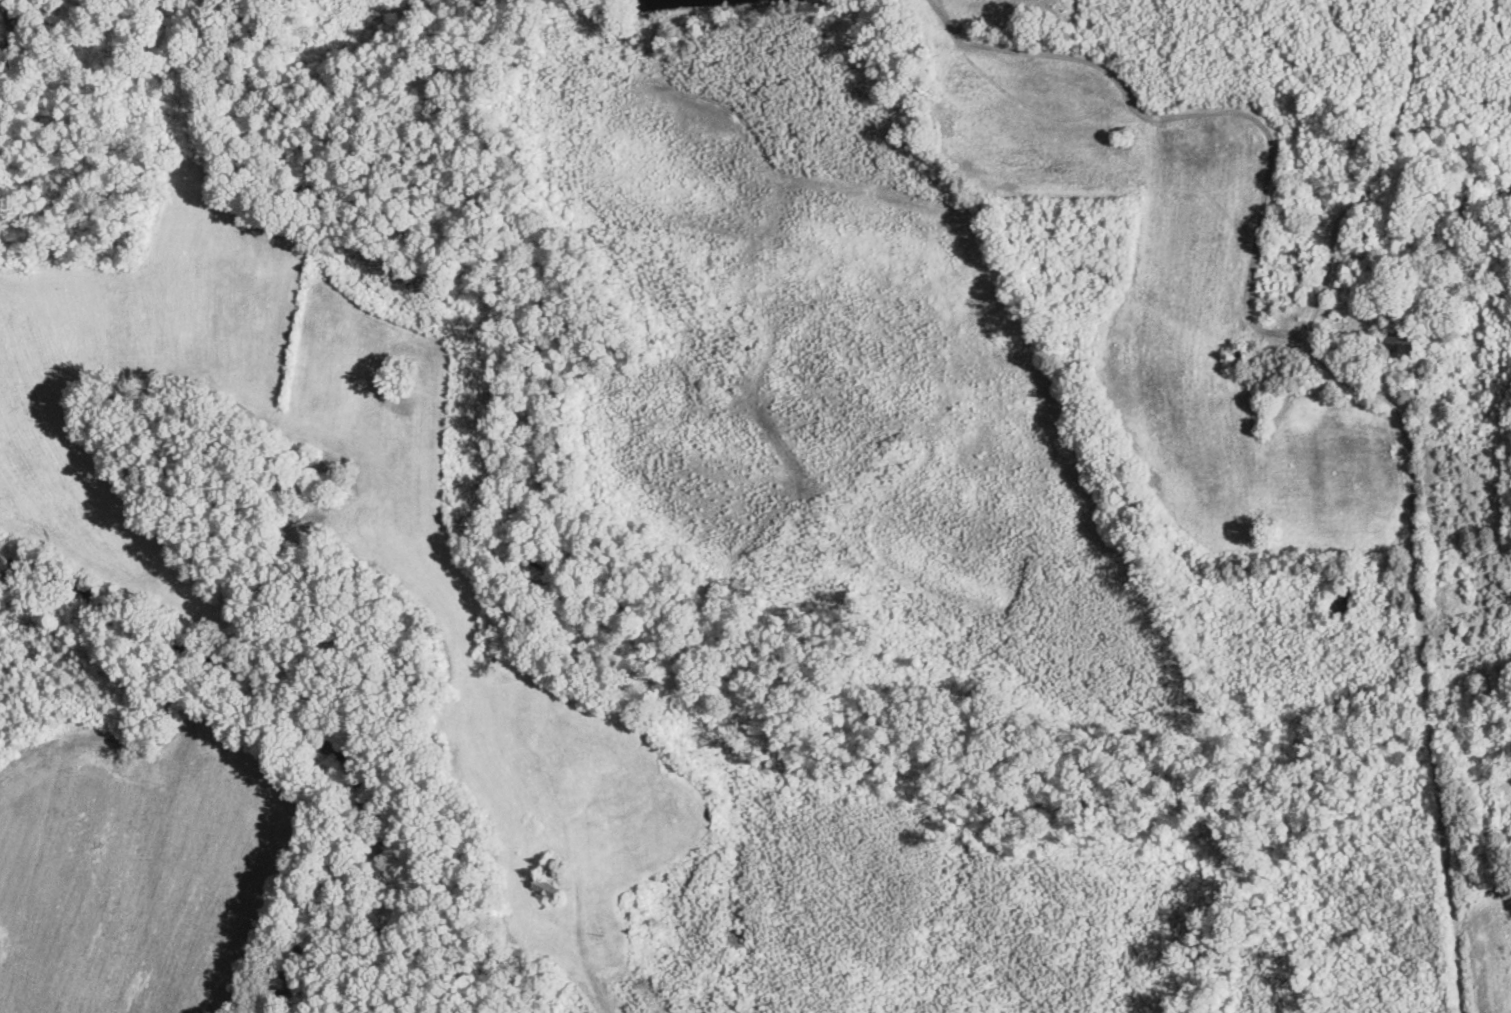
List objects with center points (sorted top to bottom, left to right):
building: (1399, 347)
building: (1238, 360)
building: (305, 531)
road: (1422, 645)
building: (486, 662)
building: (547, 878)
road: (570, 950)

